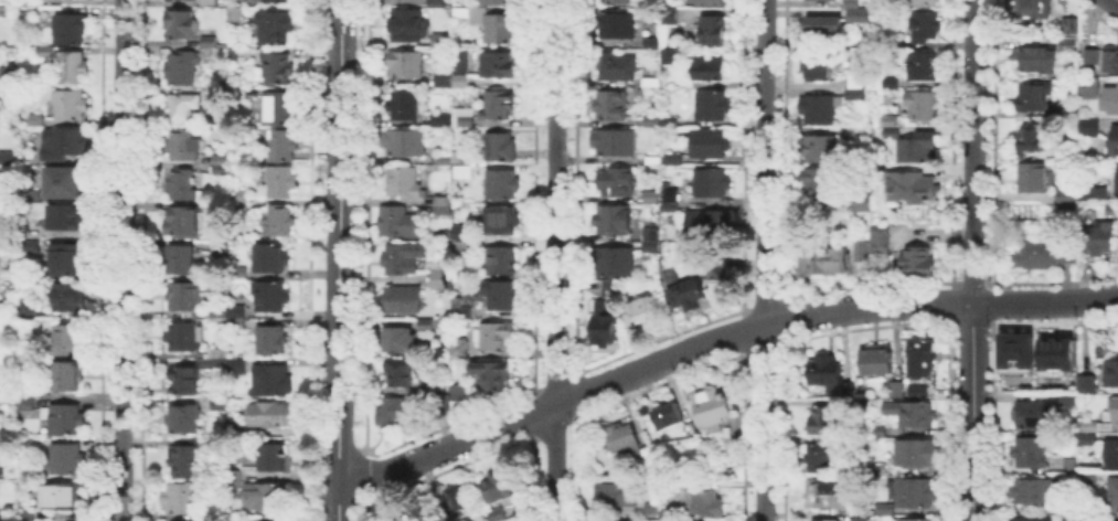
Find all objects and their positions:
building: (181, 0)
building: (820, 0)
building: (277, 1)
building: (617, 1)
building: (499, 2)
building: (710, 2)
building: (922, 2)
road: (1114, 2)
building: (210, 3)
building: (436, 3)
building: (1030, 9)
building: (460, 10)
building: (851, 12)
building: (235, 14)
building: (671, 14)
building: (181, 25)
building: (275, 26)
building: (617, 26)
building: (500, 28)
building: (924, 28)
building: (1068, 28)
building: (71, 29)
building: (413, 29)
building: (818, 29)
building: (713, 31)
building: (207, 39)
building: (650, 40)
building: (1067, 45)
building: (210, 52)
building: (663, 54)
building: (1093, 57)
building: (1111, 61)
building: (1037, 62)
building: (460, 63)
building: (819, 64)
building: (497, 65)
building: (802, 65)
building: (70, 66)
building: (405, 66)
building: (706, 67)
building: (924, 67)
building: (617, 68)
building: (181, 70)
building: (276, 70)
building: (445, 81)
building: (459, 81)
building: (855, 83)
building: (649, 84)
building: (892, 85)
building: (1088, 92)
building: (853, 94)
building: (3, 95)
building: (1033, 97)
building: (1110, 102)
building: (920, 104)
building: (403, 105)
building: (498, 105)
building: (71, 106)
building: (610, 106)
building: (713, 107)
building: (181, 108)
building: (279, 110)
building: (819, 111)
building: (439, 118)
building: (465, 118)
building: (660, 120)
building: (35, 121)
building: (1085, 126)
building: (845, 132)
building: (1030, 138)
building: (66, 142)
building: (1112, 143)
building: (405, 145)
building: (617, 145)
building: (279, 146)
building: (181, 147)
building: (499, 147)
building: (820, 149)
building: (915, 149)
building: (710, 150)
road: (972, 151)
building: (1063, 155)
building: (4, 156)
building: (461, 157)
building: (217, 159)
building: (673, 159)
building: (444, 160)
building: (652, 162)
building: (222, 172)
building: (462, 173)
building: (1117, 177)
building: (1033, 178)
building: (402, 181)
building: (908, 181)
building: (71, 183)
building: (616, 183)
building: (713, 183)
building: (280, 184)
building: (820, 184)
building: (502, 185)
building: (180, 187)
building: (1069, 191)
building: (670, 196)
building: (239, 198)
building: (650, 198)
building: (861, 204)
building: (444, 206)
building: (64, 217)
building: (501, 221)
building: (6, 222)
building: (613, 222)
building: (402, 223)
building: (183, 224)
building: (281, 224)
building: (710, 227)
building: (650, 233)
building: (880, 240)
building: (1098, 240)
building: (457, 245)
building: (649, 245)
building: (1039, 255)
building: (274, 258)
road: (763, 259)
building: (824, 259)
building: (65, 260)
road: (121, 260)
building: (180, 260)
road: (338, 260)
road: (553, 260)
building: (400, 263)
building: (502, 263)
building: (613, 264)
building: (918, 264)
building: (711, 266)
building: (677, 273)
building: (237, 274)
building: (667, 275)
building: (444, 278)
building: (610, 287)
building: (690, 294)
building: (68, 298)
building: (184, 298)
building: (271, 298)
building: (501, 298)
building: (404, 300)
road: (1045, 302)
building: (215, 310)
building: (236, 310)
building: (645, 312)
building: (461, 313)
building: (426, 322)
building: (234, 323)
building: (603, 332)
building: (185, 337)
building: (496, 338)
building: (68, 340)
building: (398, 340)
building: (271, 342)
building: (1014, 349)
building: (459, 351)
building: (1054, 352)
building: (215, 360)
building: (877, 361)
building: (922, 361)
building: (236, 365)
road: (648, 365)
building: (827, 371)
building: (398, 373)
building: (1112, 375)
building: (492, 376)
building: (68, 378)
building: (184, 382)
building: (270, 382)
building: (1087, 386)
building: (424, 390)
building: (897, 391)
building: (918, 393)
building: (460, 394)
building: (25, 397)
building: (1067, 401)
building: (443, 406)
building: (711, 410)
road: (971, 412)
building: (1115, 412)
building: (401, 414)
building: (668, 415)
building: (915, 415)
building: (269, 416)
building: (1033, 417)
building: (183, 419)
building: (64, 421)
building: (824, 421)
building: (1088, 426)
building: (235, 428)
building: (881, 432)
building: (622, 438)
building: (1087, 440)
building: (640, 454)
building: (1031, 454)
building: (917, 455)
building: (1111, 455)
building: (66, 459)
building: (273, 459)
building: (820, 459)
building: (187, 461)
building: (880, 470)
building: (234, 480)
building: (1087, 481)
building: (500, 488)
building: (615, 493)
building: (829, 493)
building: (1032, 493)
building: (266, 497)
building: (63, 498)
building: (905, 498)
building: (1114, 498)
building: (181, 500)
building: (696, 500)
building: (455, 502)
building: (652, 508)
building: (498, 514)
building: (861, 515)
building: (1029, 518)
building: (820, 519)
building: (914, 519)
building: (1086, 519)
building: (264, 520)
building: (1114, 520)

